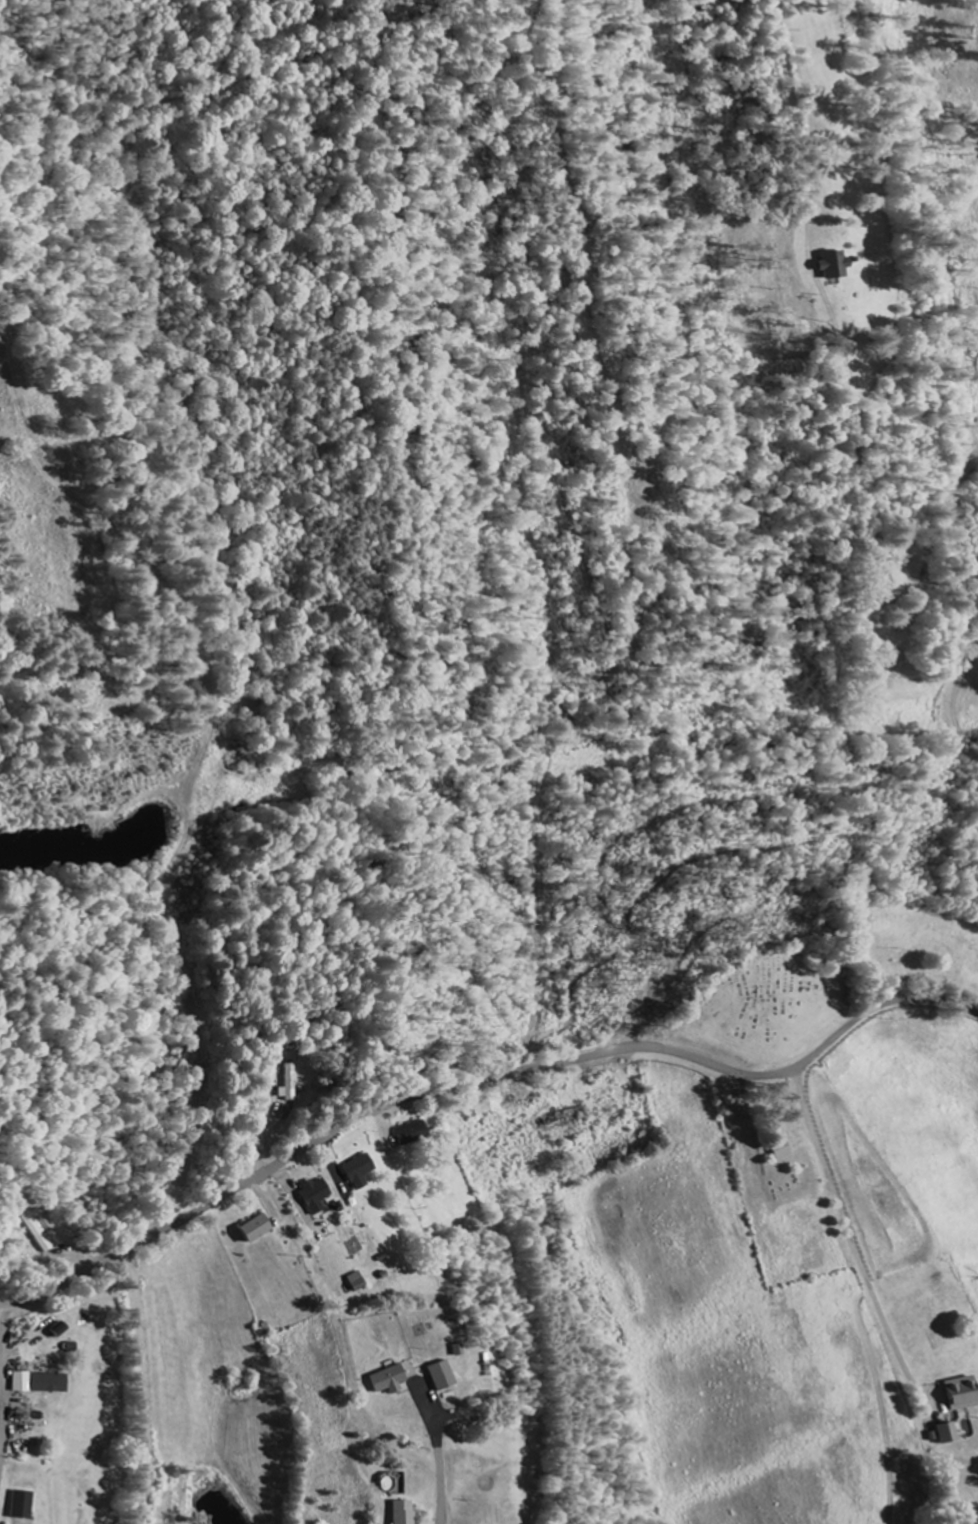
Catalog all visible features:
building: (838, 267)
road: (861, 764)
road: (203, 925)
road: (478, 1080)
building: (293, 1083)
building: (416, 1135)
building: (363, 1172)
building: (316, 1196)
building: (257, 1229)
building: (38, 1234)
building: (357, 1283)
building: (445, 1377)
building: (391, 1381)
building: (23, 1383)
building: (51, 1384)
building: (965, 1394)
building: (951, 1434)
road: (440, 1469)
building: (24, 1506)
building: (407, 1513)

